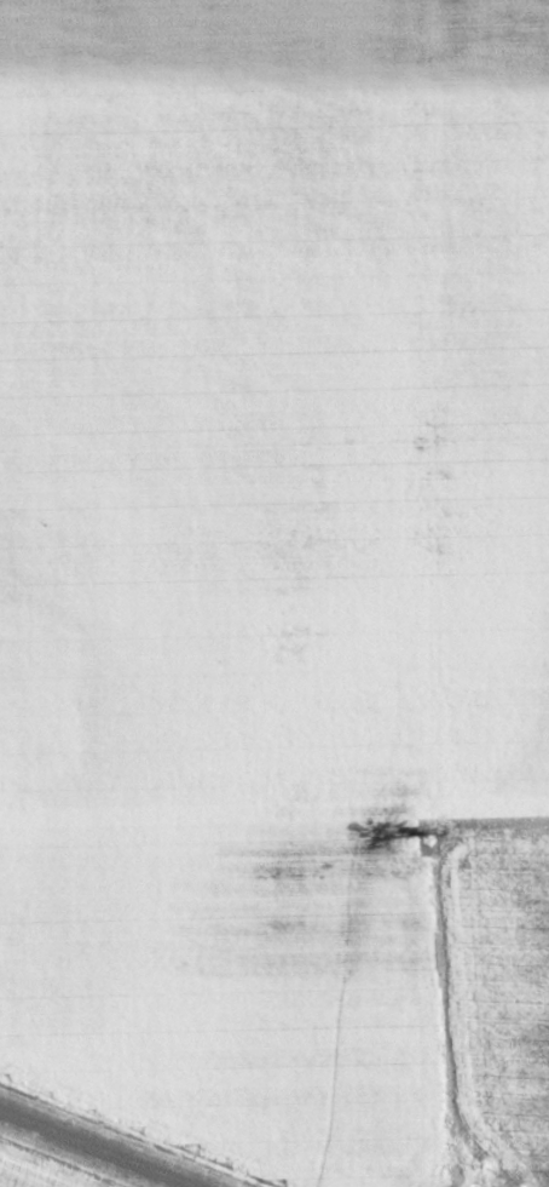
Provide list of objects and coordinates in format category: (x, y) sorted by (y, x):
road: (423, 597)
road: (92, 1148)

